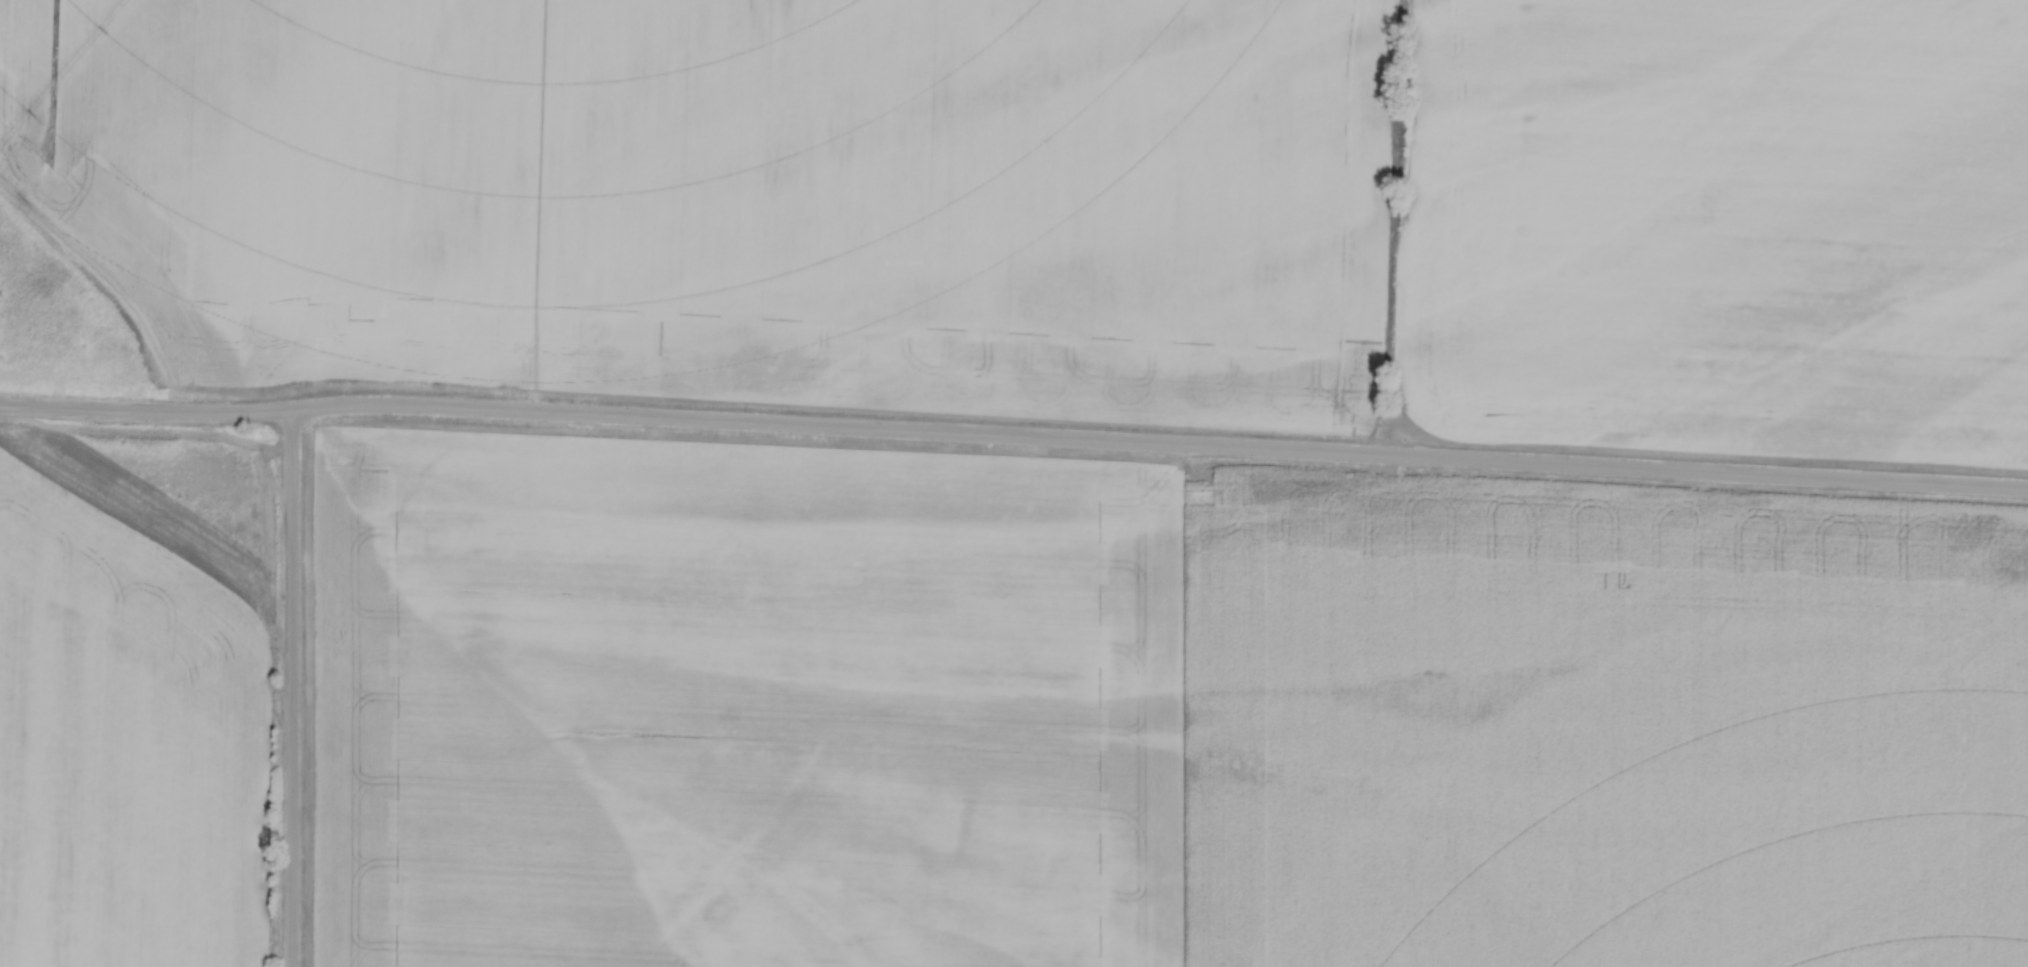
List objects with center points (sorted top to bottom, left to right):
road: (1014, 433)
road: (284, 687)

